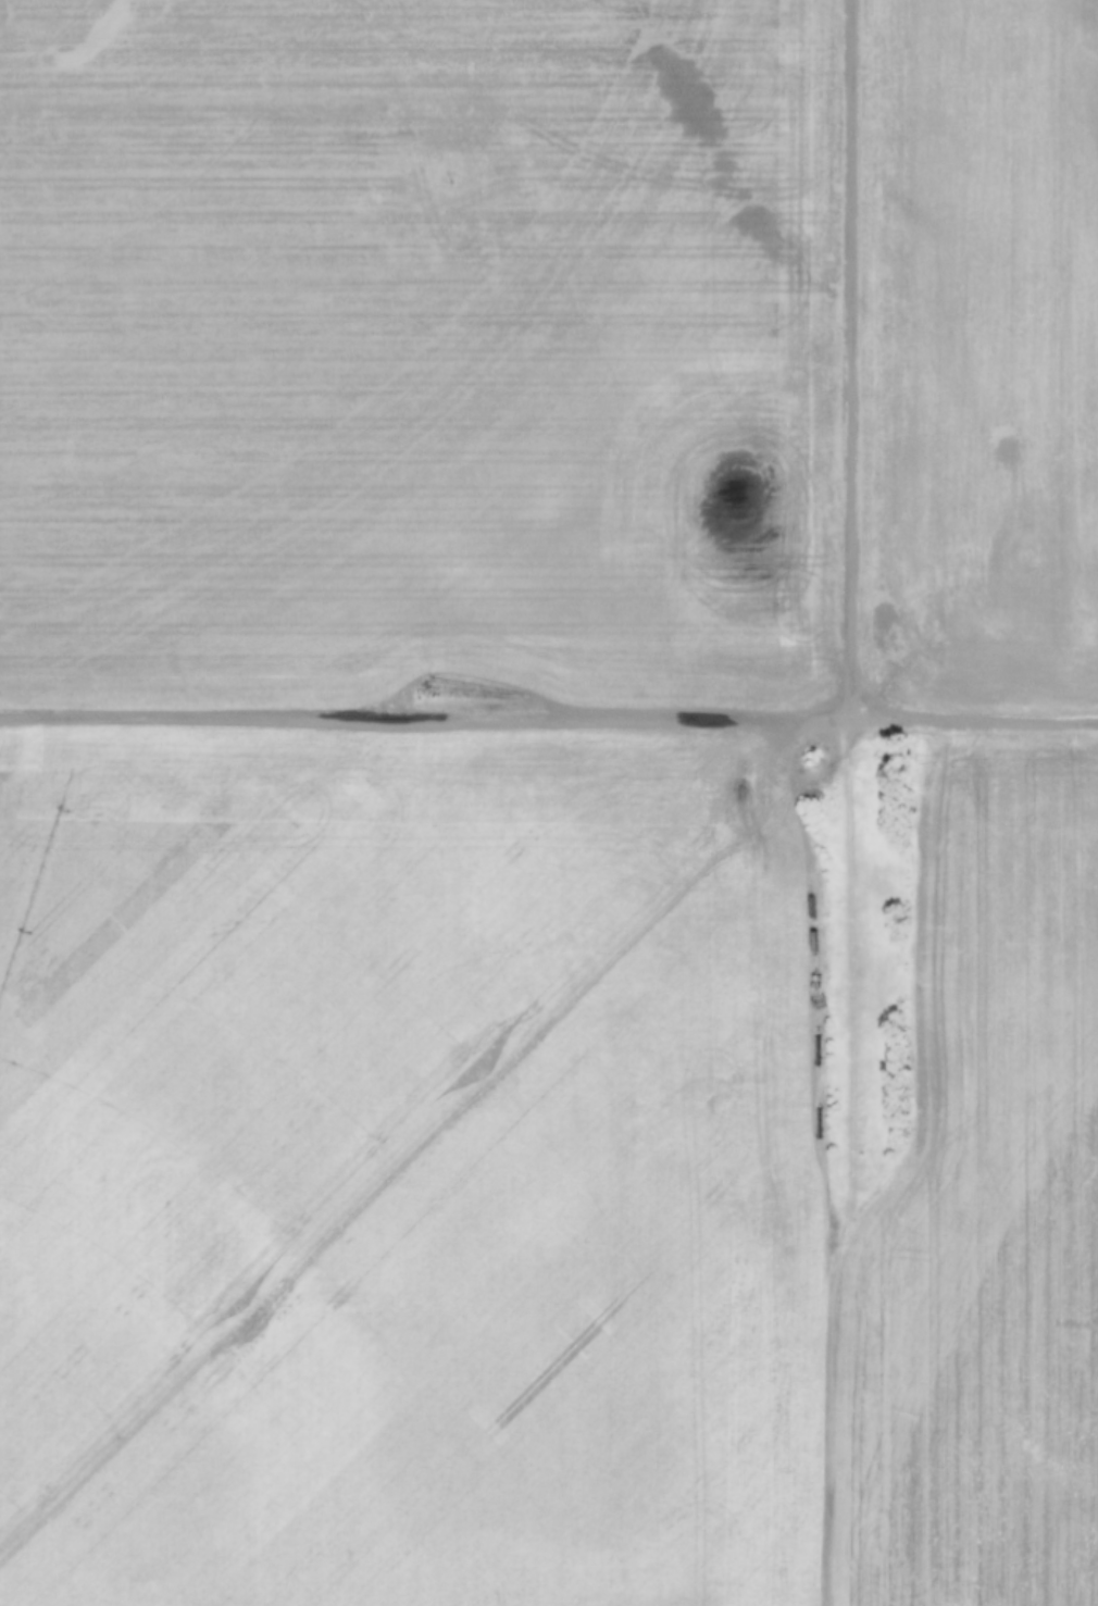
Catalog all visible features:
road: (549, 711)
road: (854, 804)

